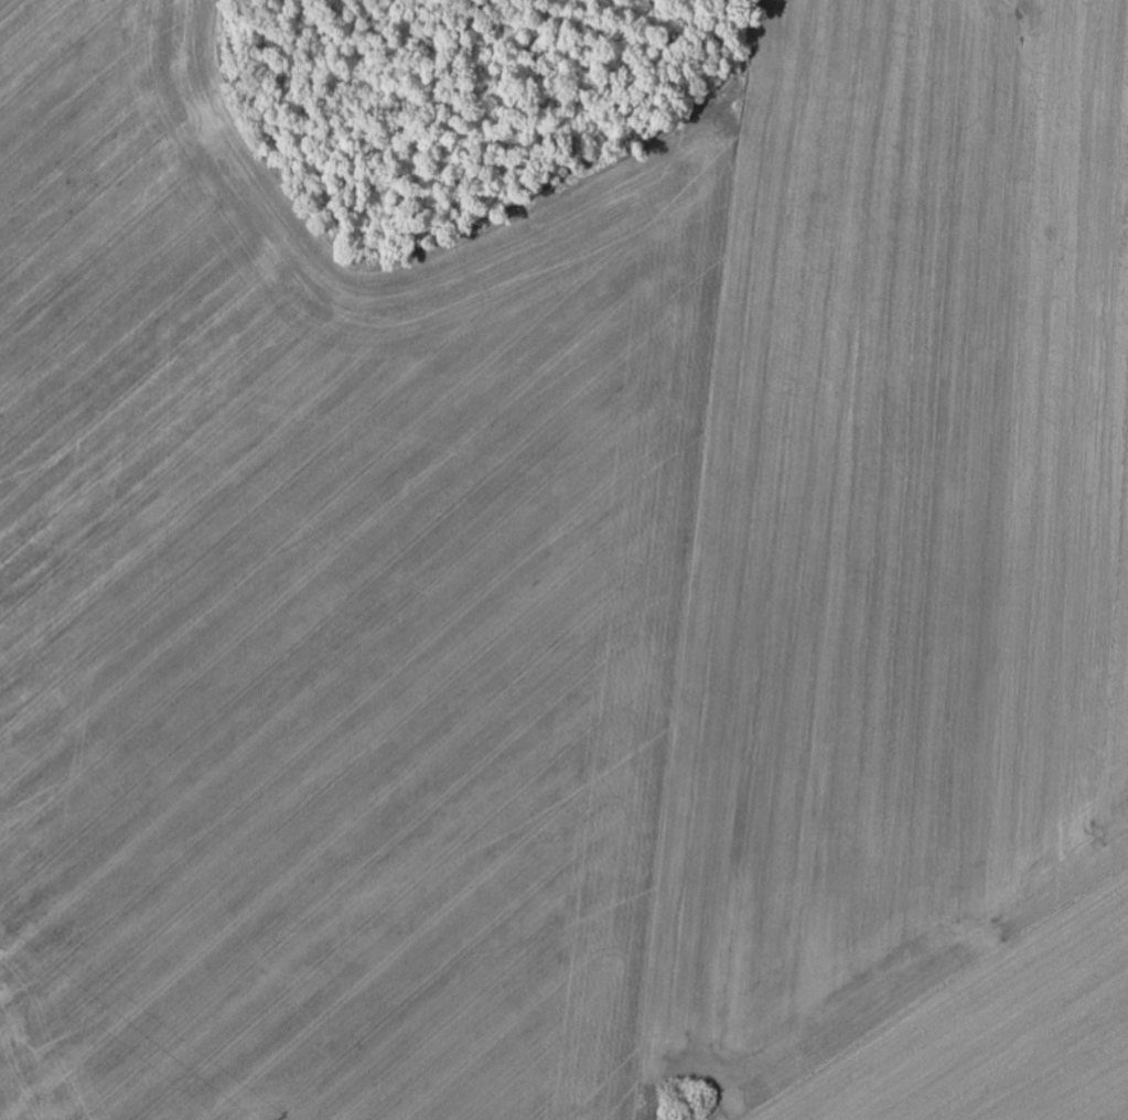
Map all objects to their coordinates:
road: (8, 7)

